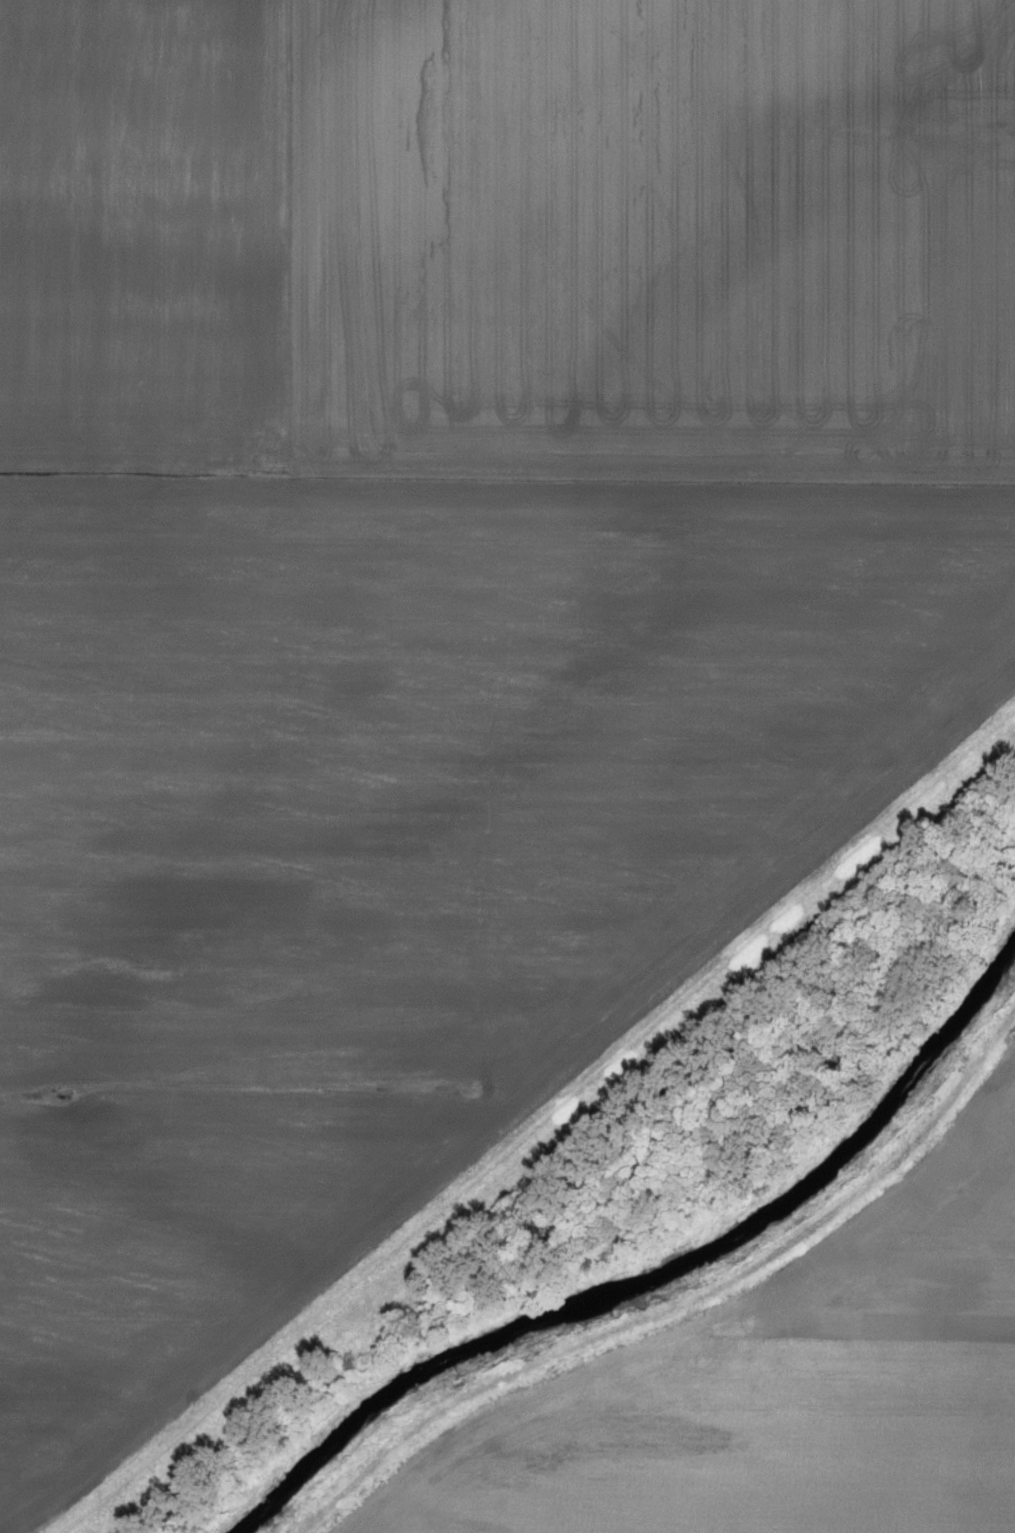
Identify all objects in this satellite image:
river: (652, 1275)

